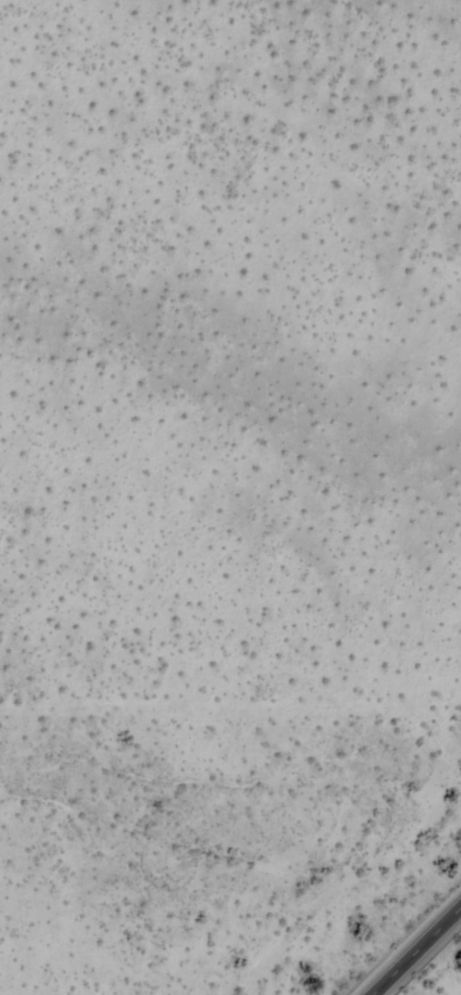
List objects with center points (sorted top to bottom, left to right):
road: (230, 708)
road: (417, 952)

